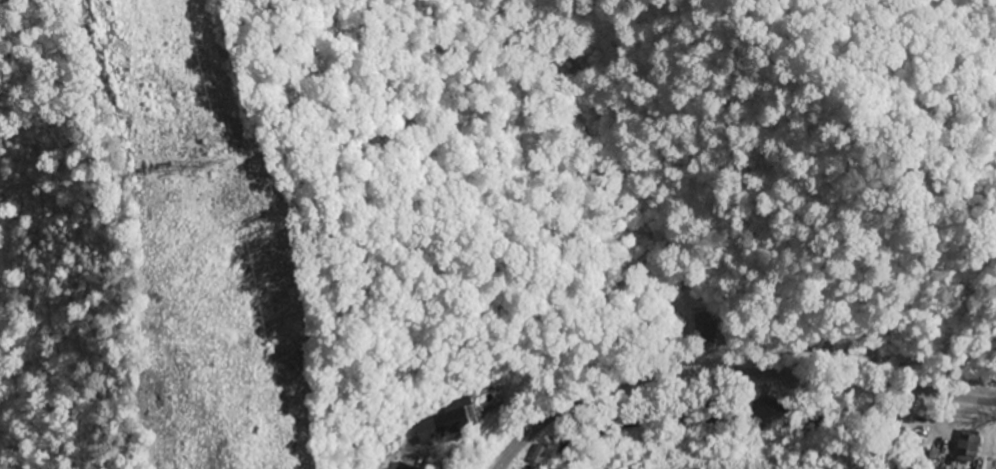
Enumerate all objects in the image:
power tower: (206, 219)
road: (735, 357)
building: (488, 399)
building: (447, 419)
building: (965, 448)

